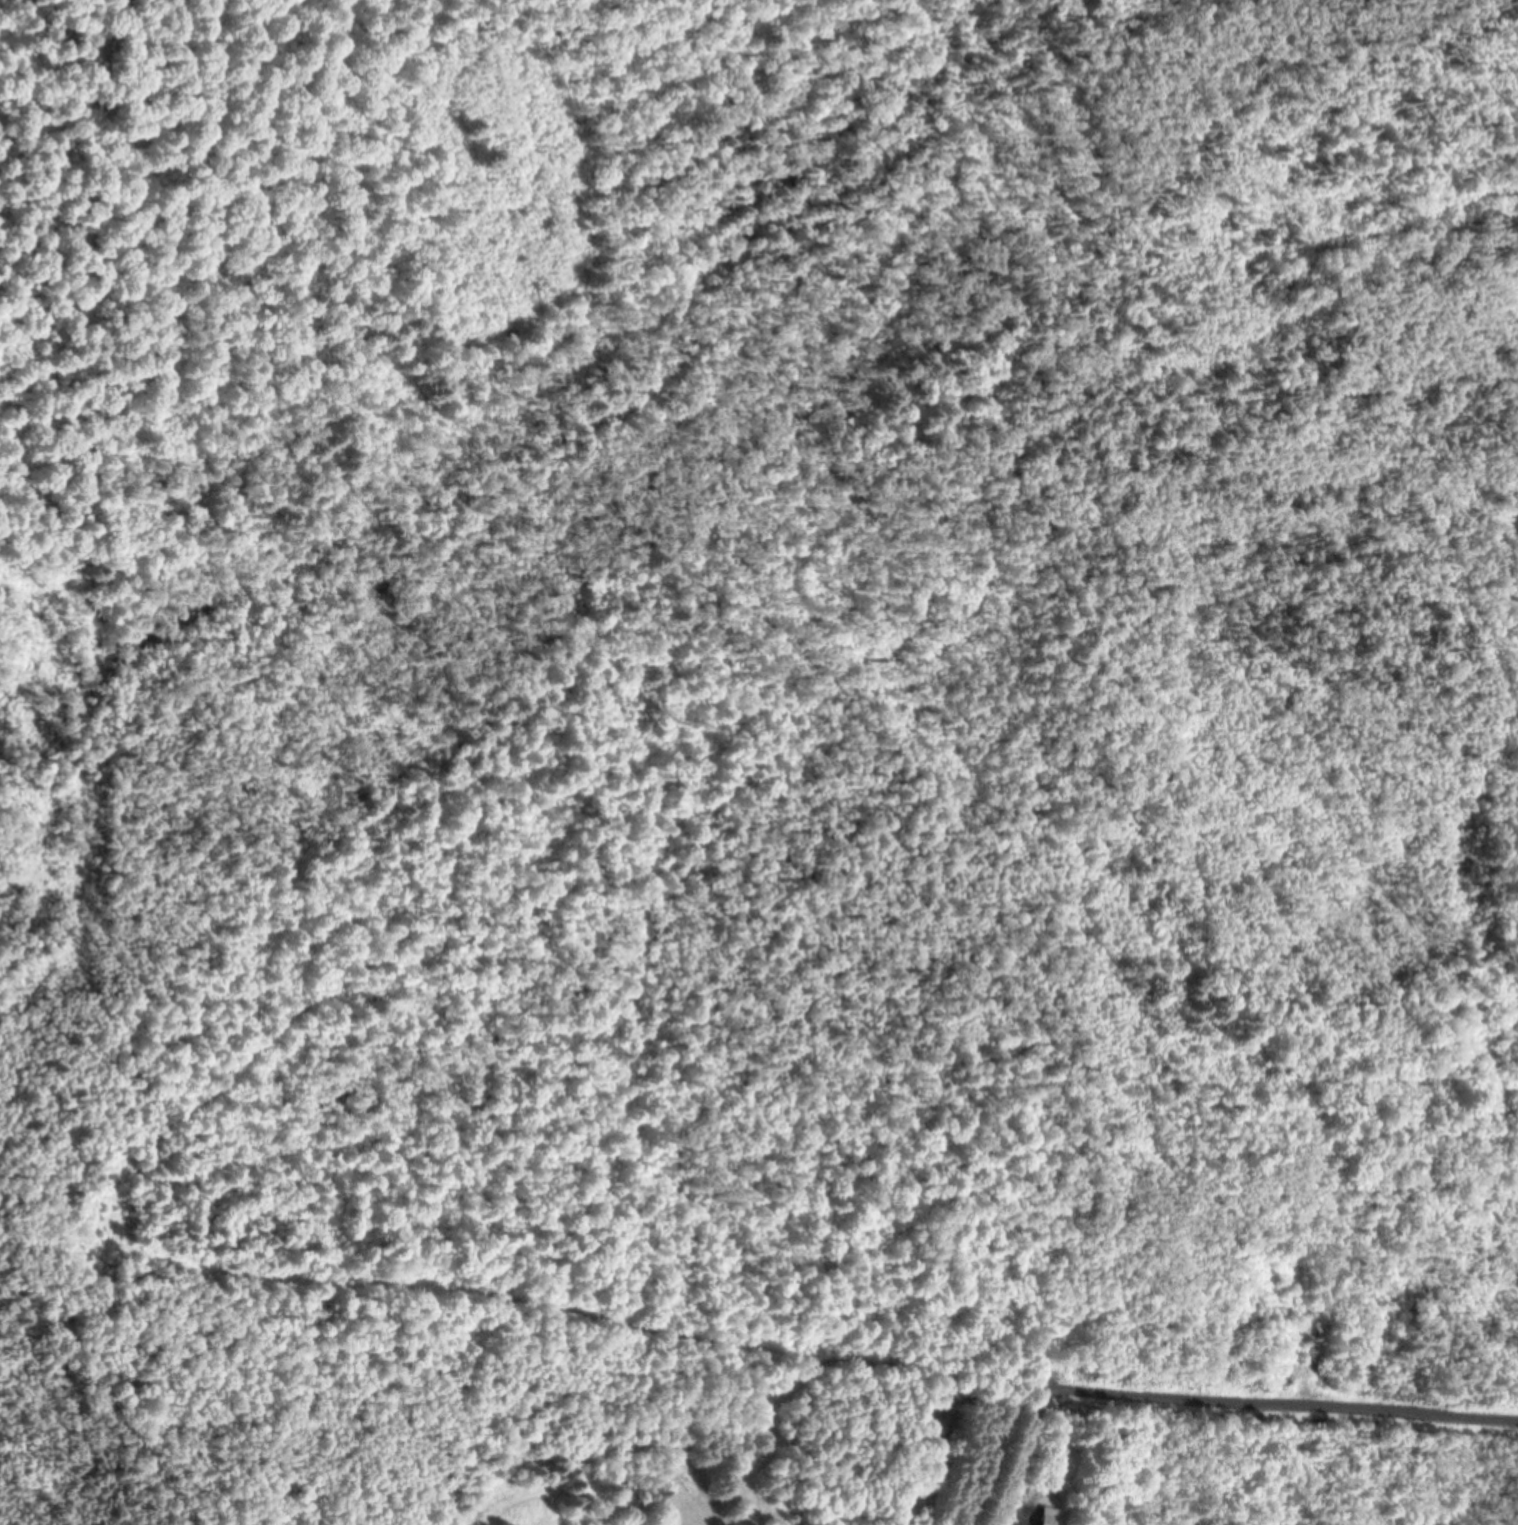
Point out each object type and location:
road: (1284, 1405)
building: (1052, 1518)

